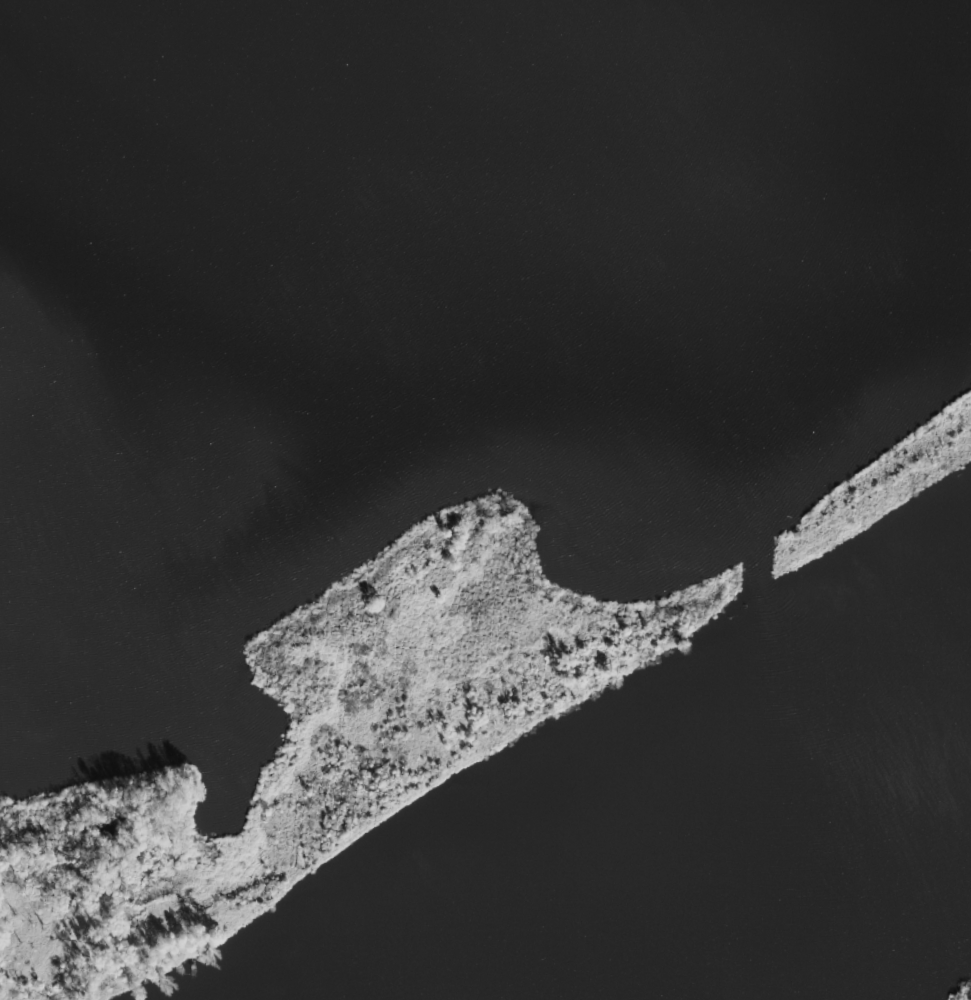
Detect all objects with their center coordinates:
river: (755, 928)

